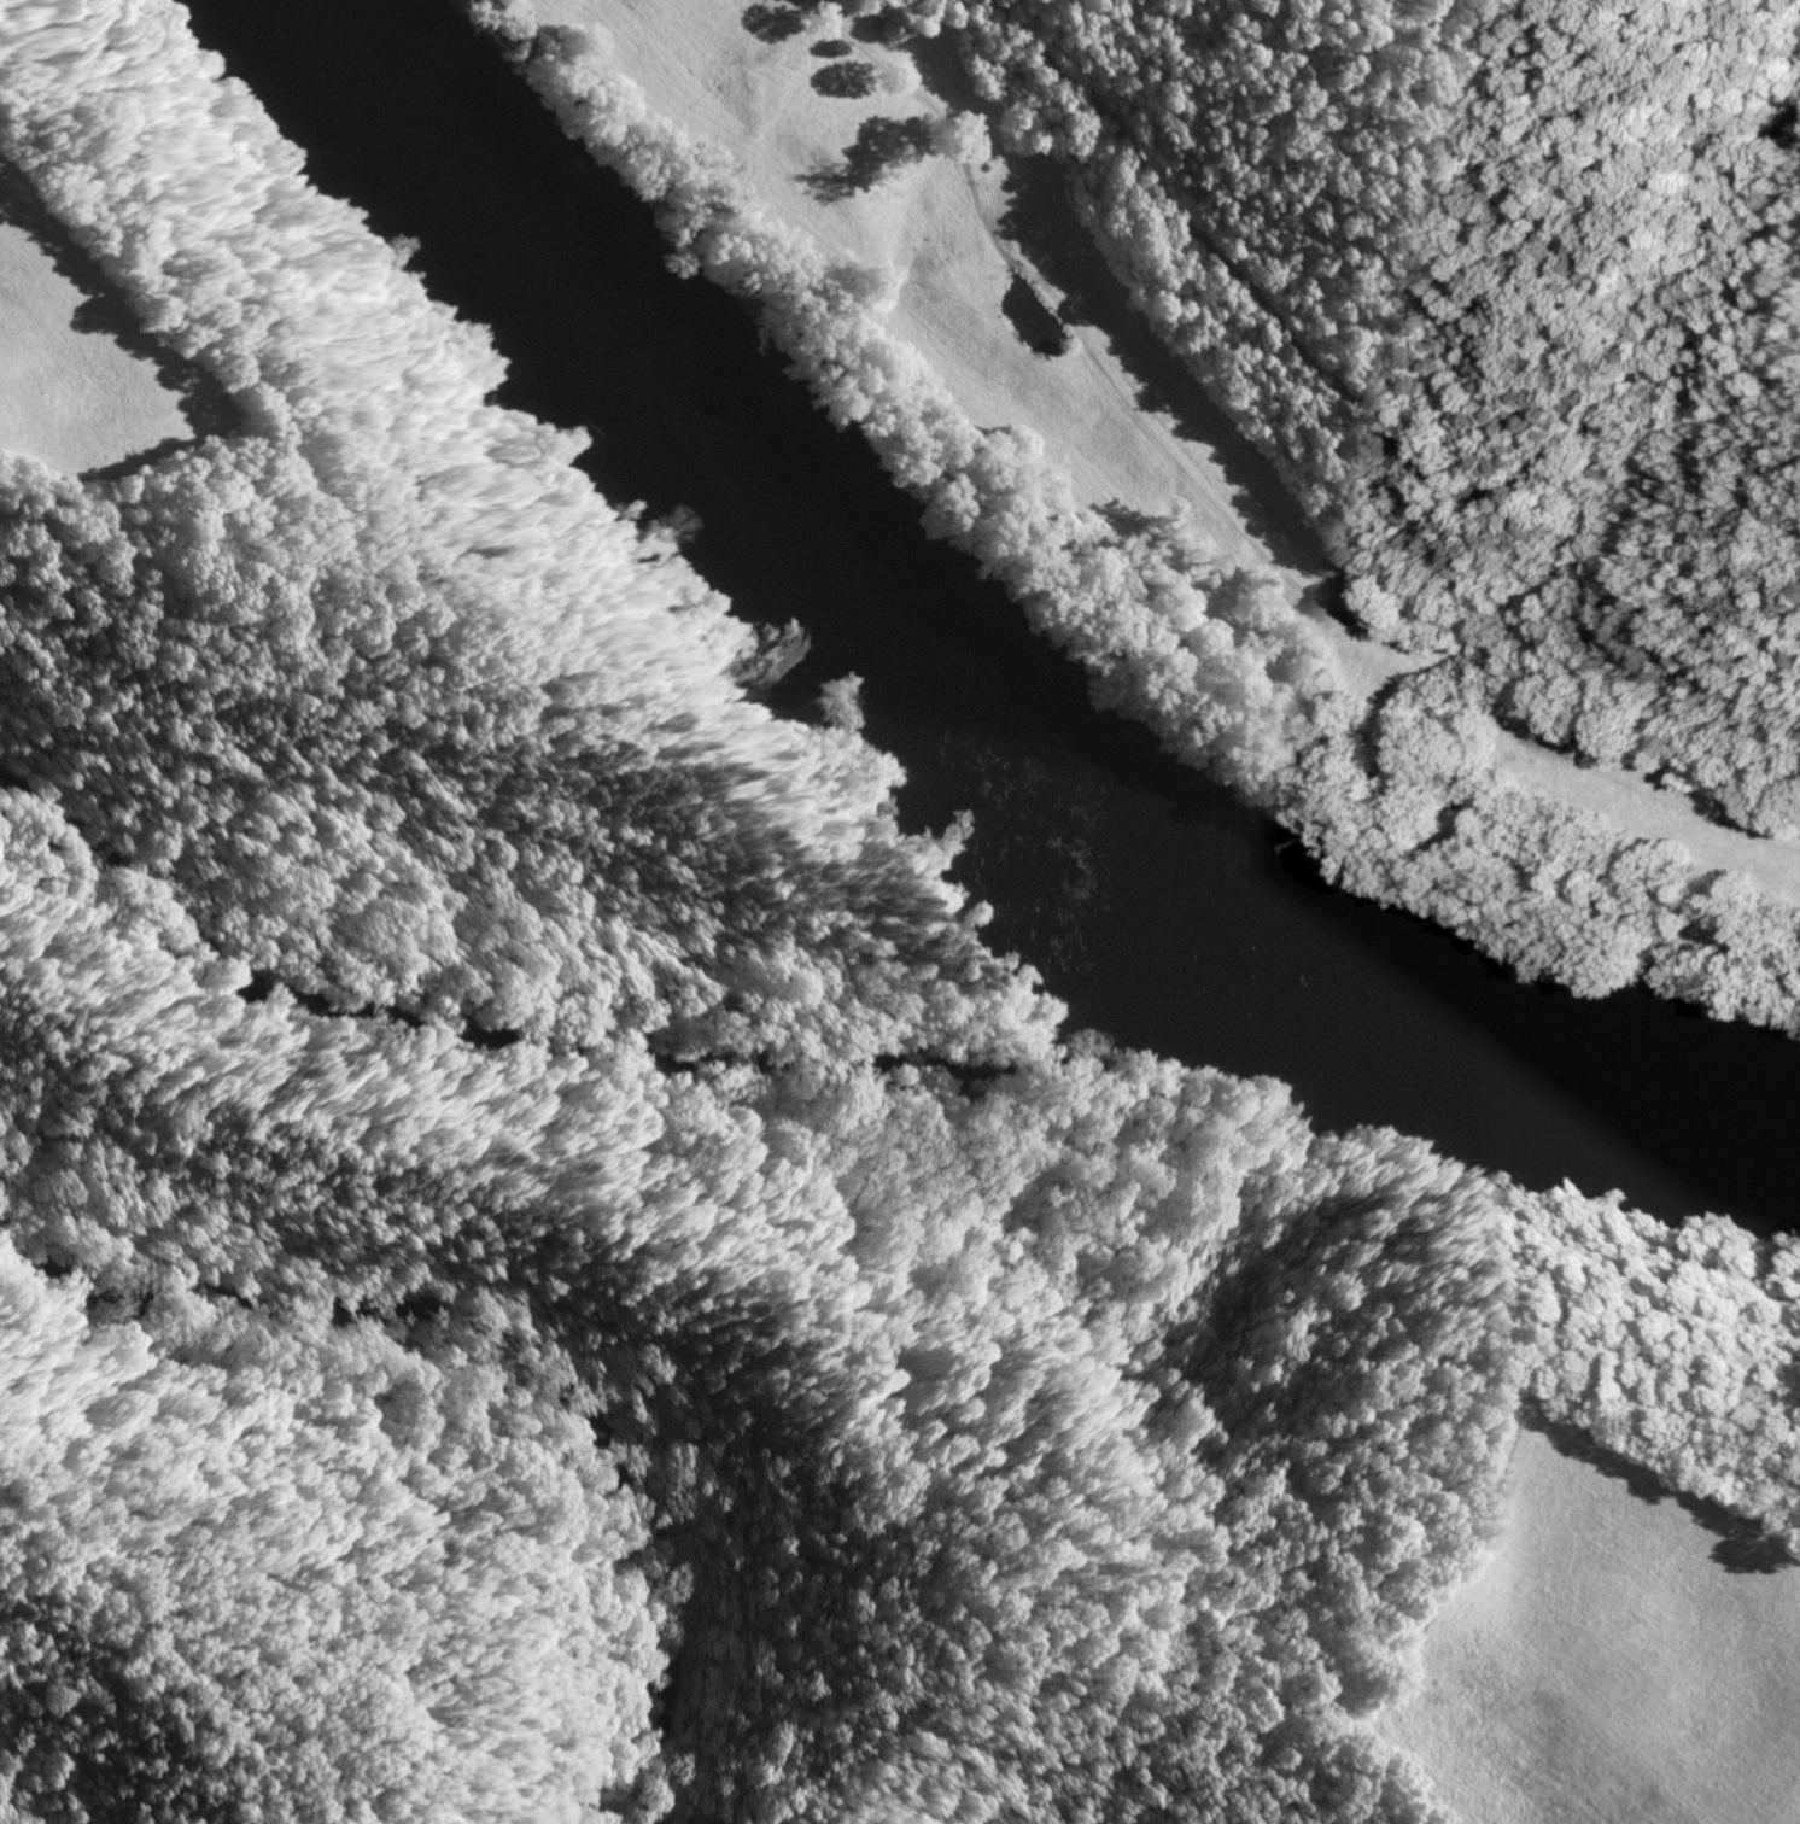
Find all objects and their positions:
road: (1410, 449)
river: (945, 703)

